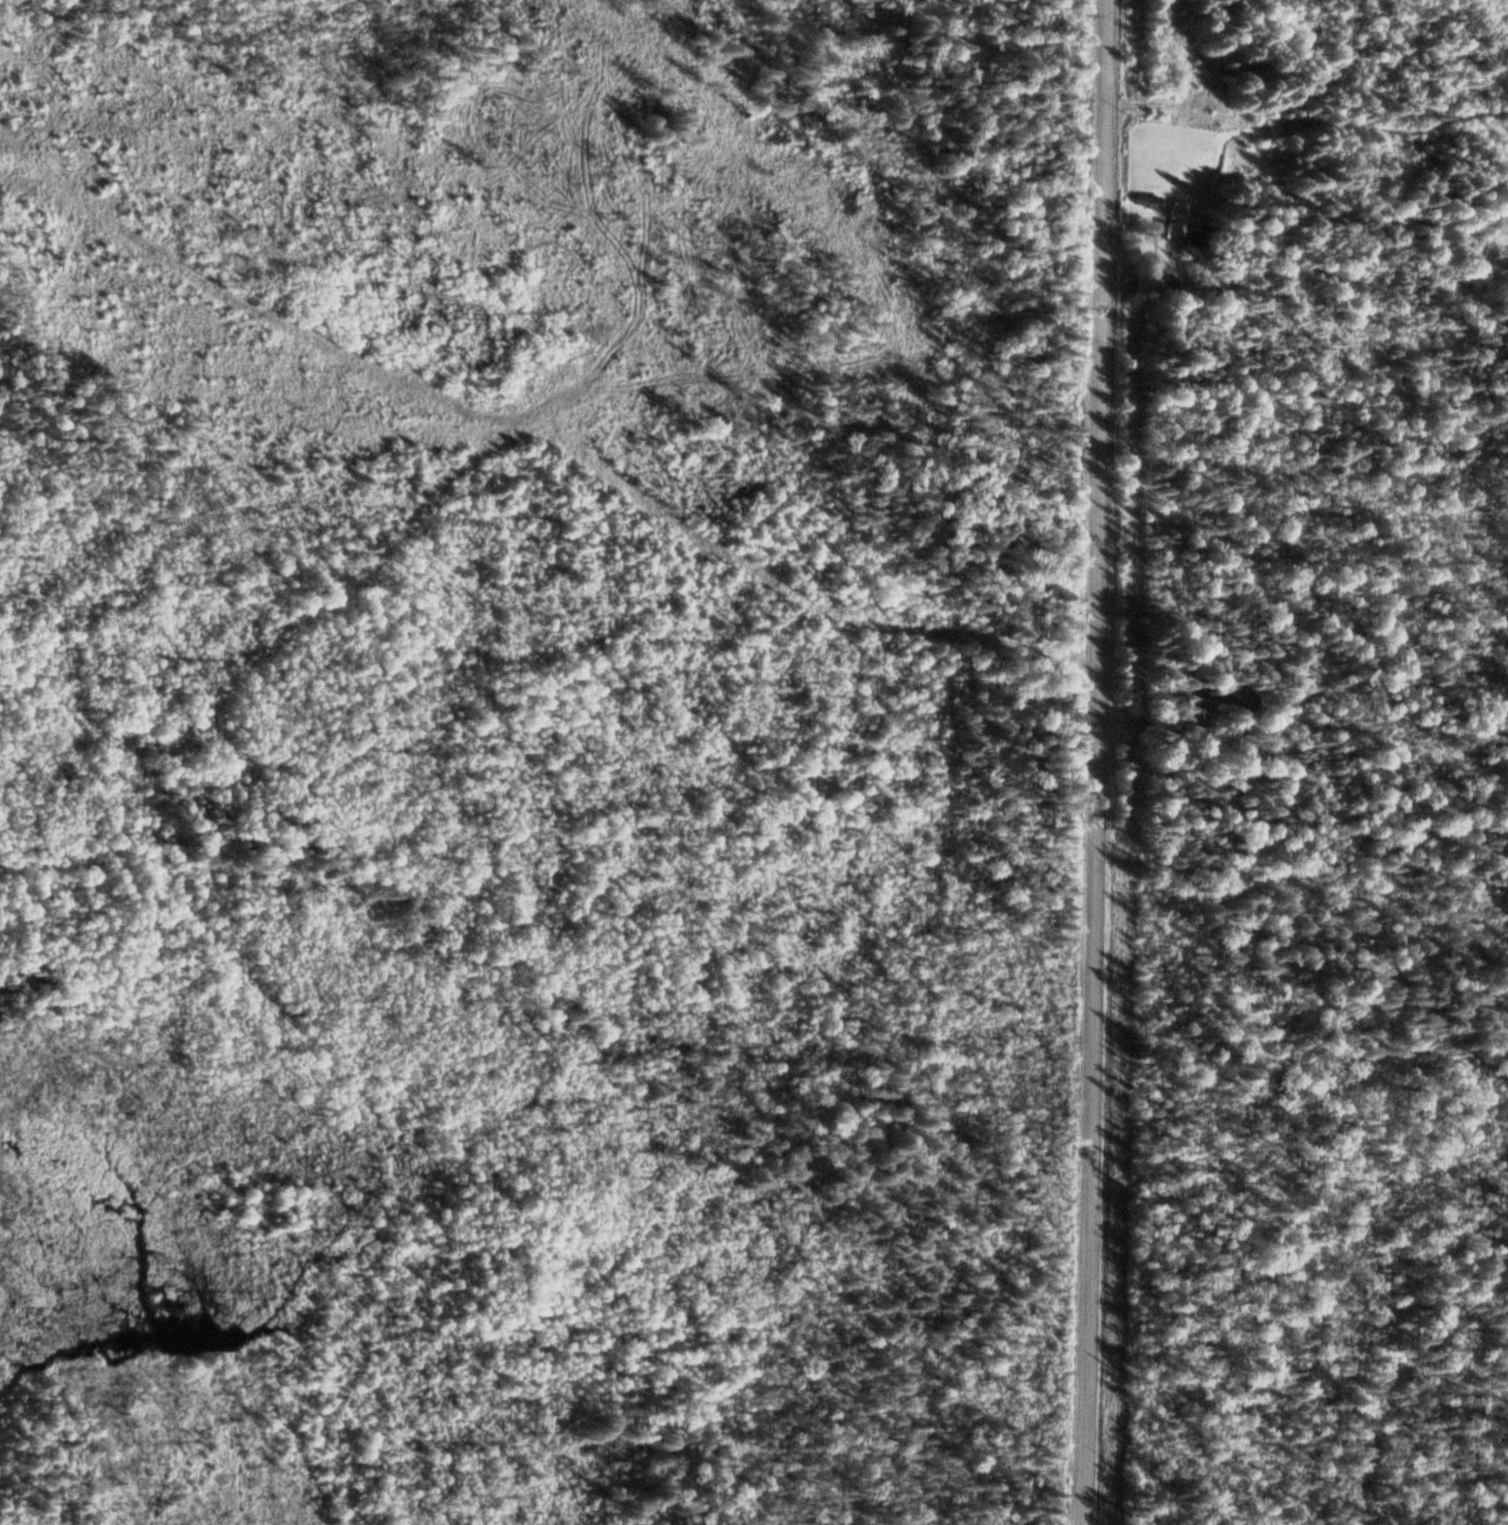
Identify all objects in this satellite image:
building: (1149, 202)
building: (1180, 222)
building: (1151, 287)
road: (1312, 713)
road: (1106, 762)

